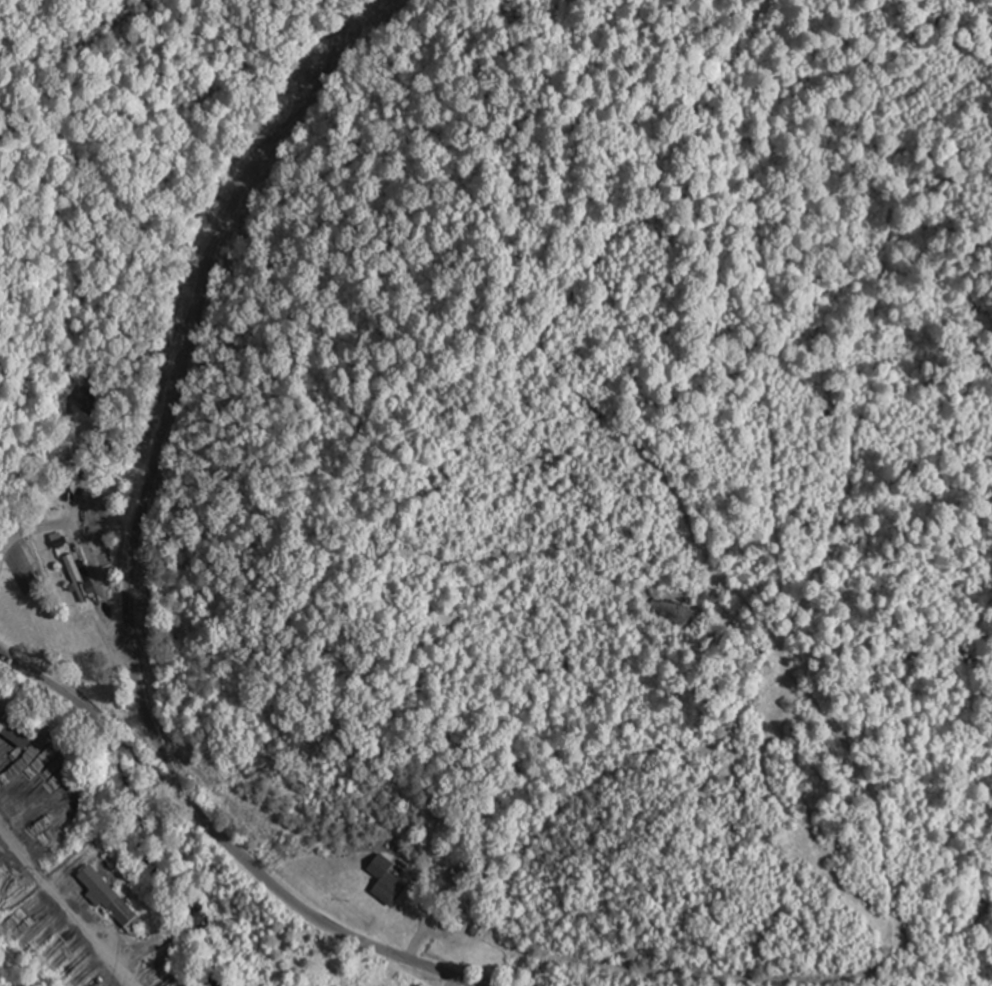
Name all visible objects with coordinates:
building: (85, 400)
building: (78, 577)
building: (18, 725)
road: (224, 837)
building: (0, 878)
building: (388, 881)
building: (111, 897)

